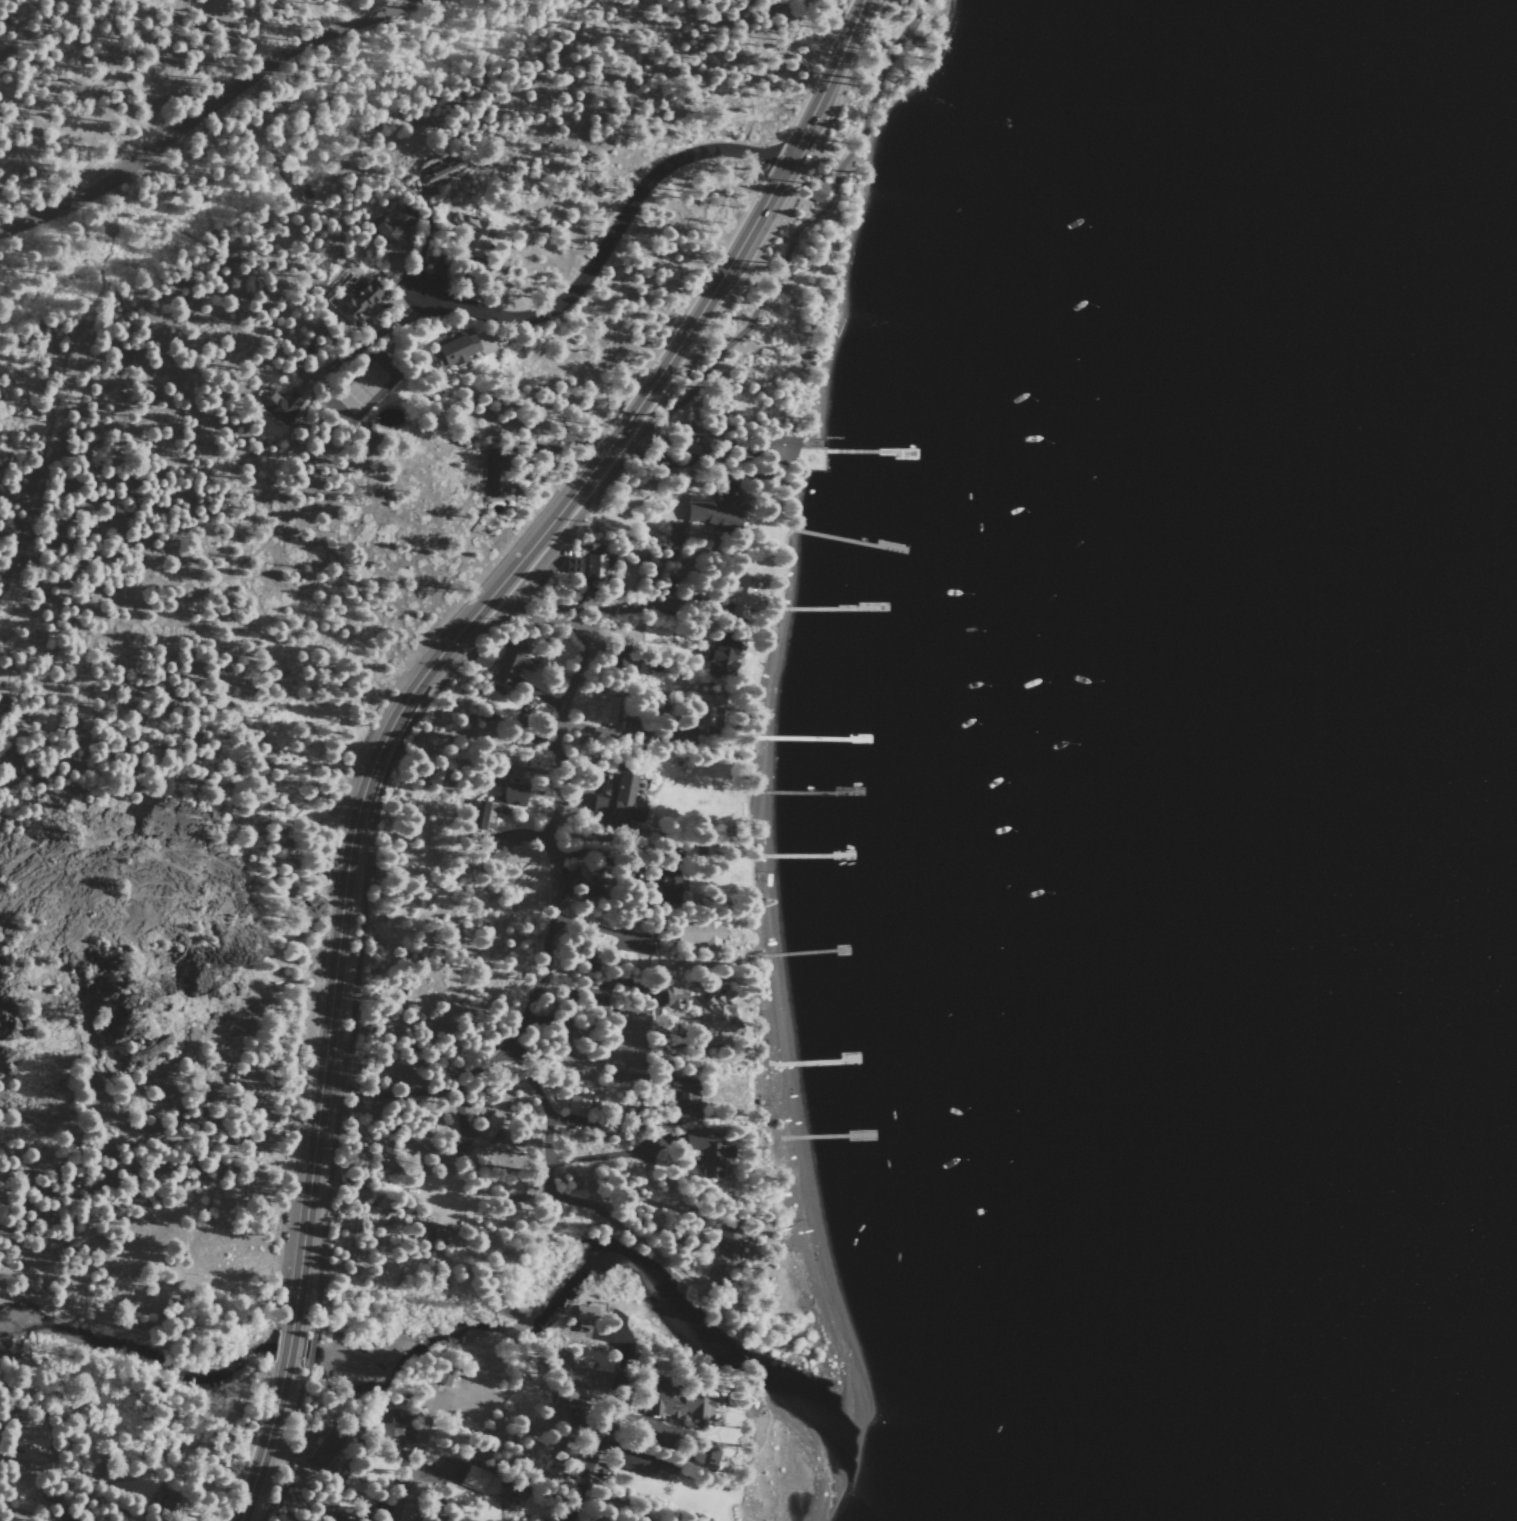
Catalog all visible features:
road: (150, 72)
road: (204, 103)
building: (442, 171)
building: (470, 231)
building: (390, 232)
road: (423, 237)
road: (606, 241)
building: (359, 303)
road: (92, 319)
road: (363, 343)
building: (453, 349)
park: (360, 387)
building: (281, 406)
road: (561, 439)
building: (690, 447)
building: (777, 451)
pier: (867, 451)
road: (679, 462)
building: (497, 475)
road: (683, 489)
building: (719, 511)
road: (591, 512)
building: (675, 532)
pier: (848, 540)
road: (243, 555)
building: (596, 565)
building: (573, 566)
building: (739, 593)
road: (588, 609)
pier: (832, 609)
road: (502, 612)
road: (467, 622)
road: (611, 630)
building: (724, 654)
building: (619, 655)
building: (482, 659)
building: (510, 662)
building: (647, 665)
road: (539, 694)
building: (606, 709)
building: (705, 710)
road: (523, 727)
road: (622, 735)
pier: (812, 739)
pier: (806, 792)
building: (618, 802)
road: (581, 803)
building: (484, 815)
road: (523, 834)
road: (132, 841)
pier: (803, 855)
road: (598, 859)
building: (671, 878)
building: (580, 884)
road: (555, 889)
road: (601, 931)
building: (698, 933)
pier: (806, 953)
building: (588, 962)
road: (596, 985)
building: (404, 991)
building: (674, 996)
building: (717, 1015)
park: (630, 1048)
pier: (815, 1062)
building: (685, 1099)
building: (579, 1109)
road: (546, 1112)
road: (461, 1119)
road: (603, 1122)
building: (490, 1125)
road: (163, 1130)
pier: (826, 1136)
building: (707, 1152)
road: (603, 1156)
building: (465, 1163)
parking lot: (293, 1192)
road: (573, 1200)
road: (509, 1201)
road: (448, 1208)
building: (421, 1230)
building: (728, 1250)
road: (711, 1257)
road: (149, 1261)
road: (310, 1347)
road: (283, 1362)
building: (573, 1372)
building: (444, 1377)
building: (678, 1404)
building: (389, 1423)
road: (292, 1449)
building: (320, 1456)
building: (27, 1458)
building: (711, 1460)
road: (261, 1461)
building: (640, 1463)
building: (473, 1476)
road: (587, 1476)
road: (399, 1491)
building: (169, 1497)
building: (508, 1497)
road: (24, 1510)

